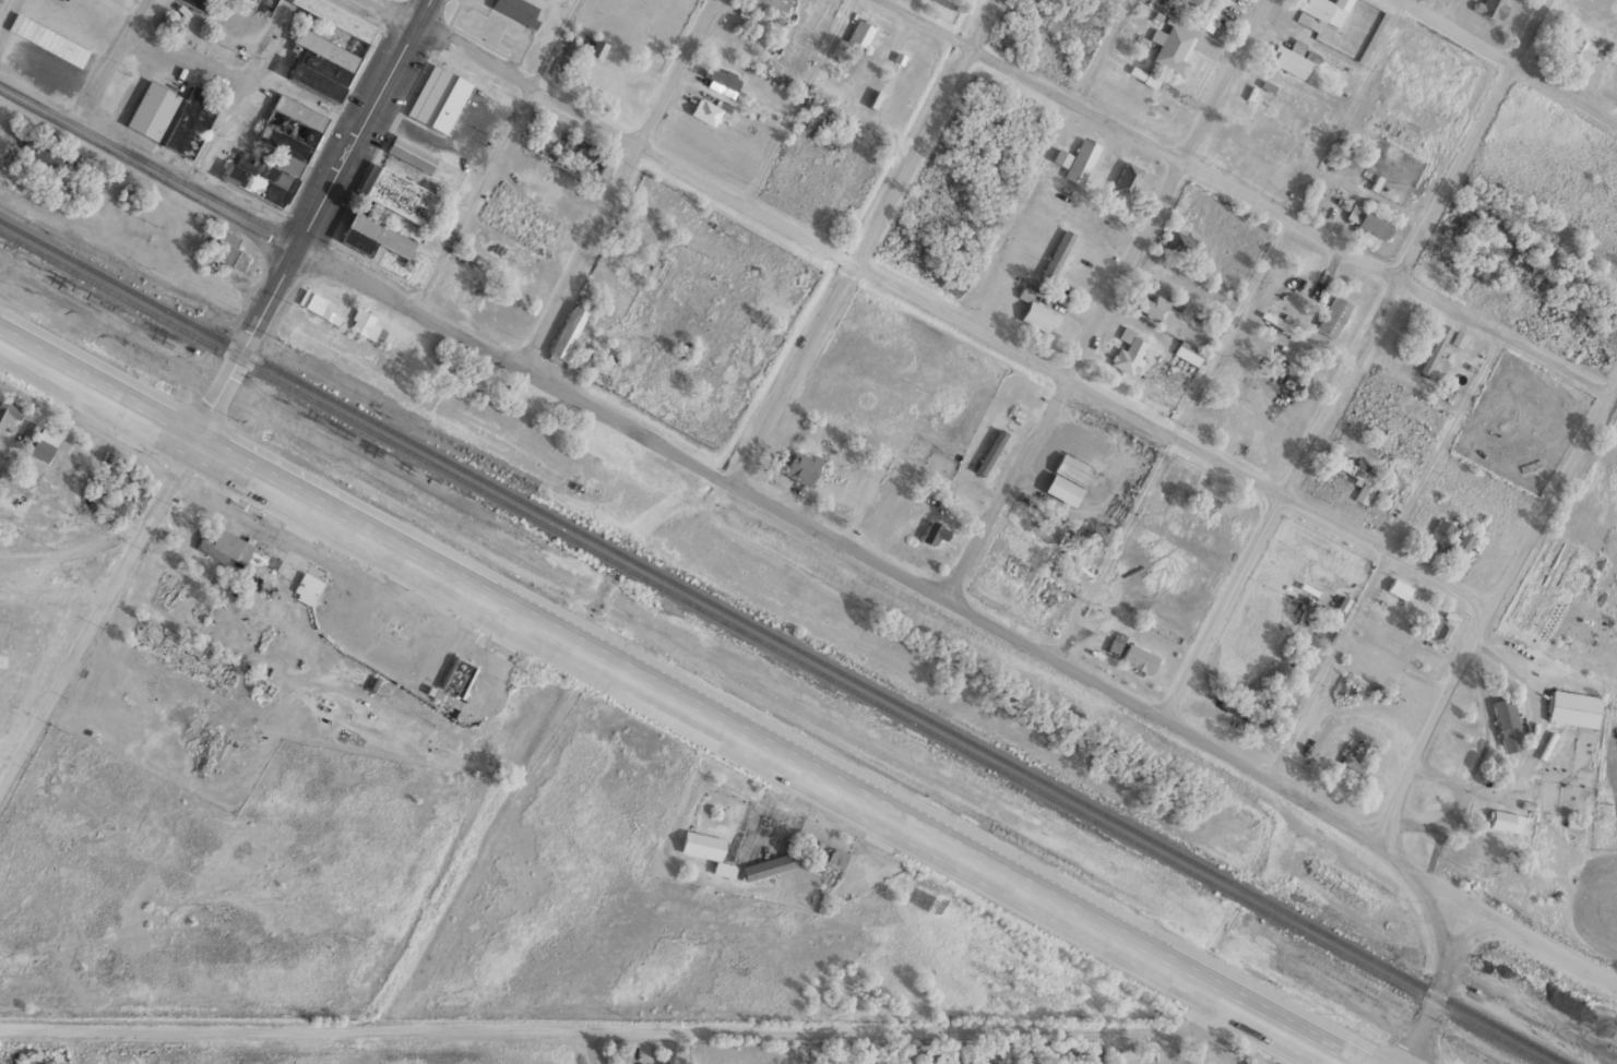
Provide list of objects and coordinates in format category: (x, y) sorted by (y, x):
building: (757, 4)
building: (261, 5)
building: (1323, 8)
building: (1491, 8)
building: (516, 10)
building: (1205, 12)
building: (170, 23)
building: (860, 32)
building: (1172, 45)
building: (324, 46)
building: (1577, 49)
building: (1289, 57)
road: (111, 62)
road: (1508, 63)
building: (720, 76)
building: (151, 109)
building: (709, 109)
building: (189, 120)
building: (41, 152)
building: (411, 152)
building: (289, 154)
building: (1081, 159)
road: (148, 162)
building: (1126, 178)
road: (622, 184)
building: (397, 193)
road: (1247, 198)
road: (308, 219)
building: (1374, 222)
building: (1184, 232)
building: (372, 235)
building: (1476, 238)
road: (866, 242)
building: (226, 249)
building: (1057, 254)
road: (1107, 298)
building: (322, 303)
road: (926, 303)
building: (1152, 303)
building: (1038, 315)
building: (1332, 315)
building: (367, 326)
building: (567, 331)
building: (1435, 348)
building: (1129, 350)
building: (1188, 352)
road: (1355, 358)
building: (1527, 390)
building: (9, 413)
building: (36, 442)
building: (799, 466)
building: (1071, 468)
building: (1365, 486)
road: (292, 492)
building: (932, 533)
building: (1439, 535)
building: (1464, 539)
building: (224, 545)
building: (1287, 553)
road: (66, 554)
building: (275, 559)
road: (896, 571)
building: (309, 582)
building: (1399, 587)
building: (1049, 591)
road: (91, 599)
road: (1491, 609)
building: (1436, 633)
railway: (783, 641)
building: (1114, 643)
railway: (771, 646)
building: (1138, 658)
building: (453, 682)
building: (1572, 707)
building: (1506, 724)
building: (1356, 757)
building: (1500, 792)
building: (1503, 821)
building: (705, 849)
building: (828, 853)
road: (976, 856)
building: (769, 865)
road: (1435, 910)
road: (1554, 947)
road: (1442, 984)
road: (1533, 1013)
road: (627, 1023)

